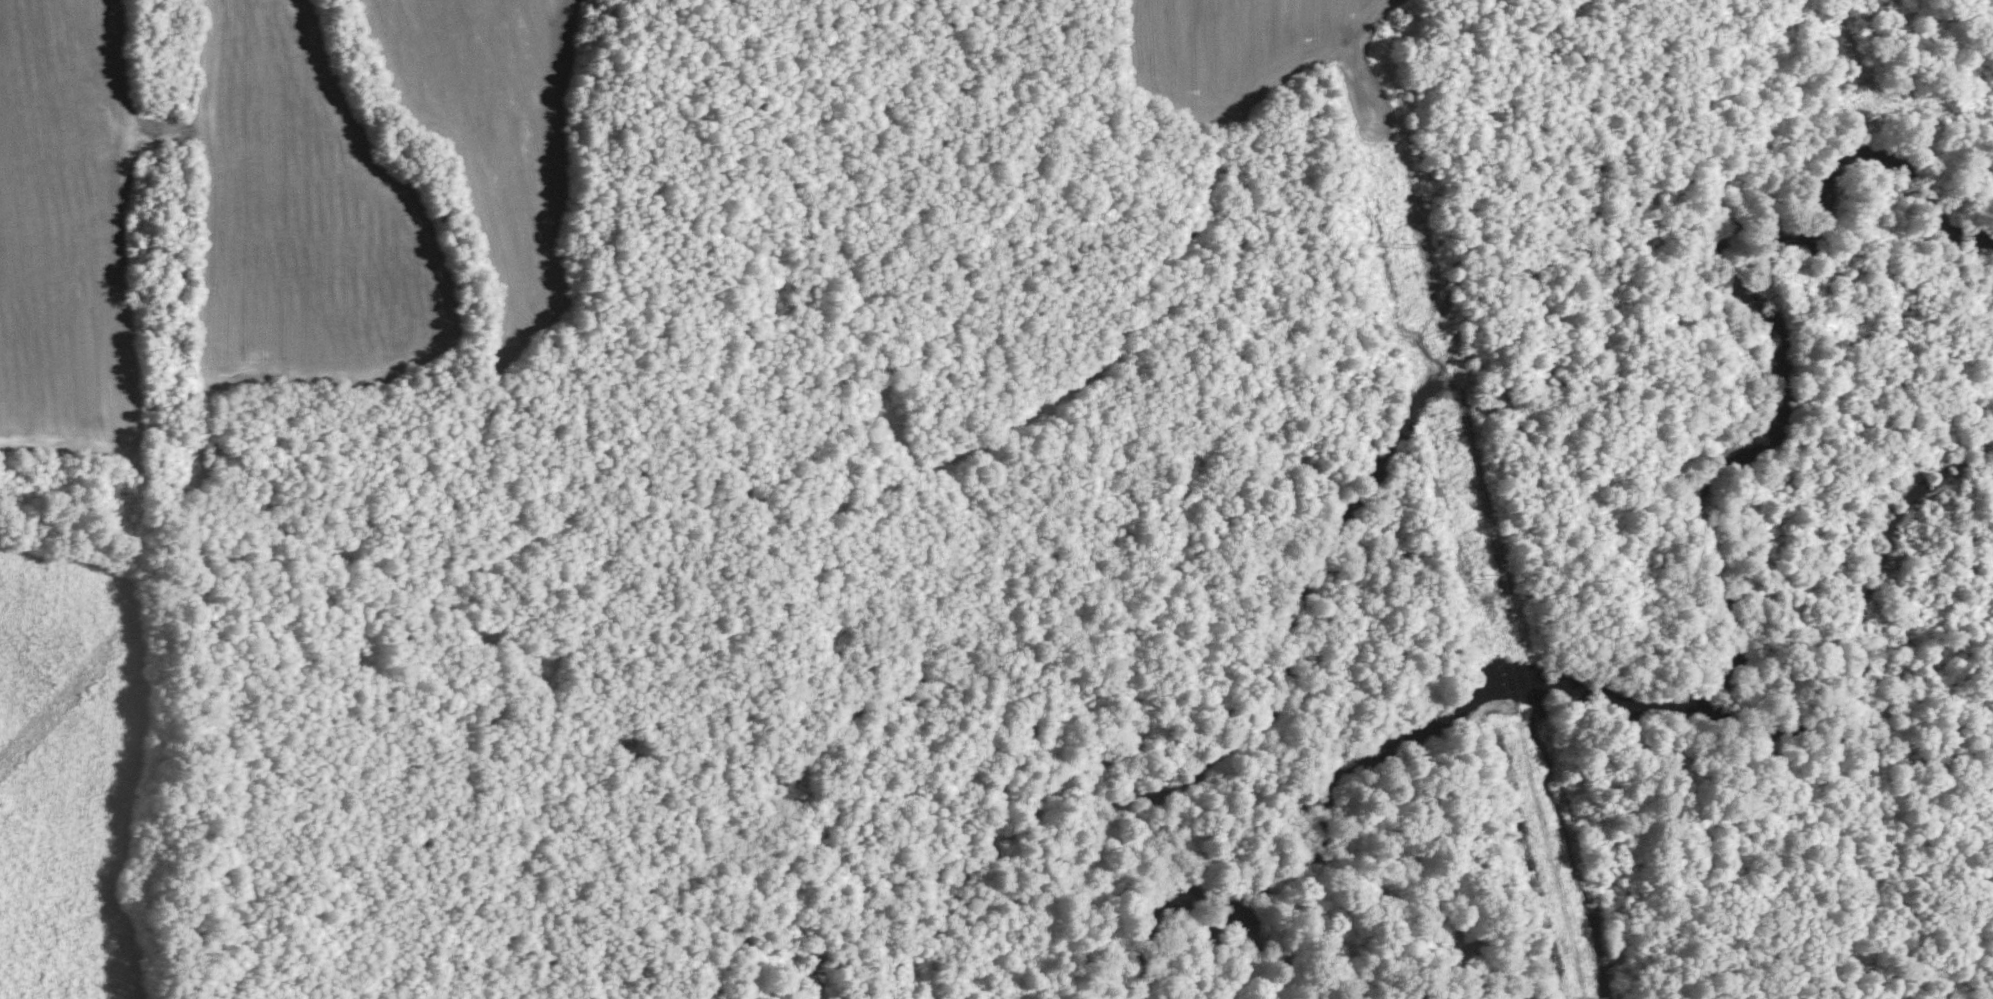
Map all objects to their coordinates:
power tower: (1403, 247)
power tower: (1482, 579)
river: (1741, 654)
power tower: (1584, 997)

